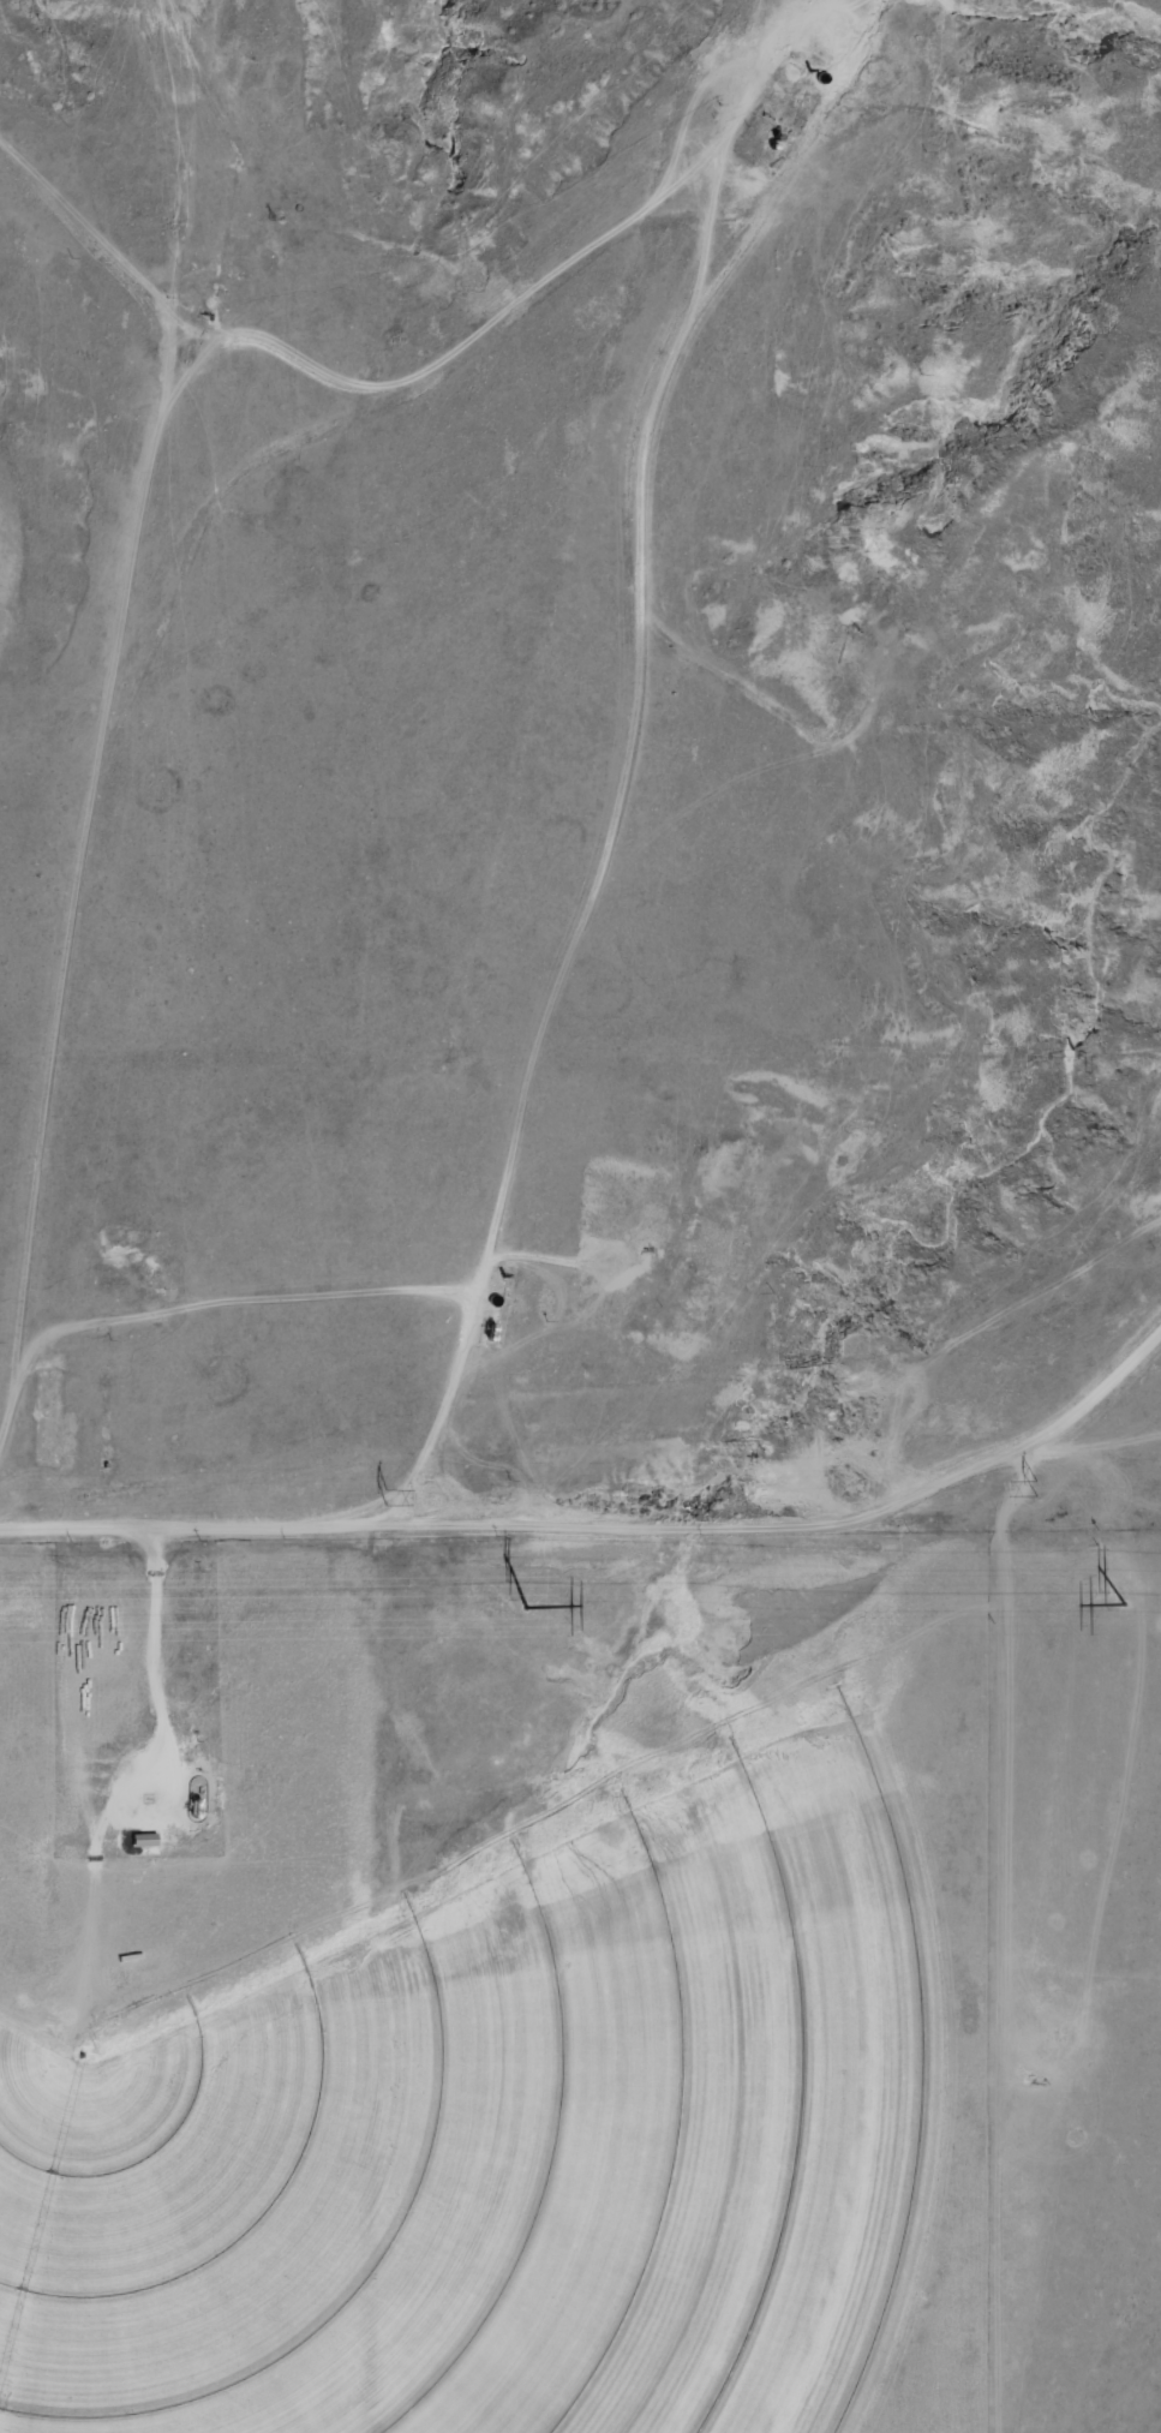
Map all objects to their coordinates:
power tower: (1036, 1488)
road: (600, 1493)
power tower: (389, 1499)
power tower: (1126, 1604)
power tower: (525, 1607)

